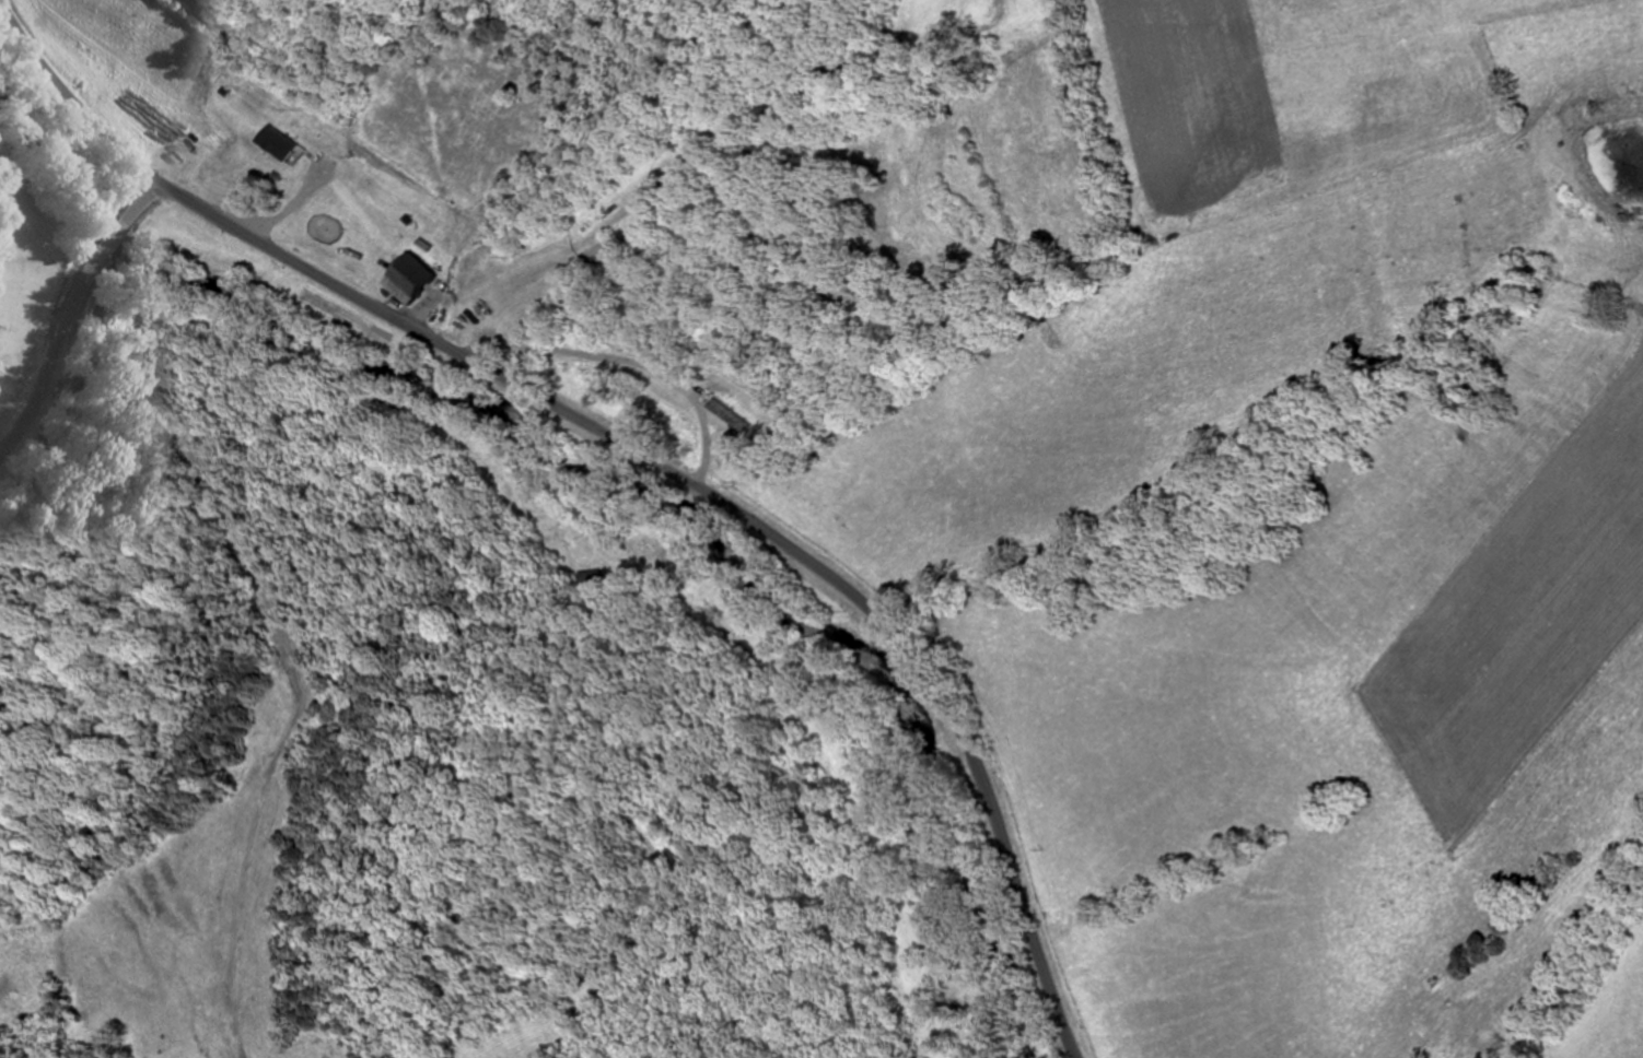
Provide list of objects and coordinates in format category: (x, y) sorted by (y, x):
building: (280, 142)
building: (416, 280)
road: (69, 313)
building: (730, 415)
road: (633, 449)

